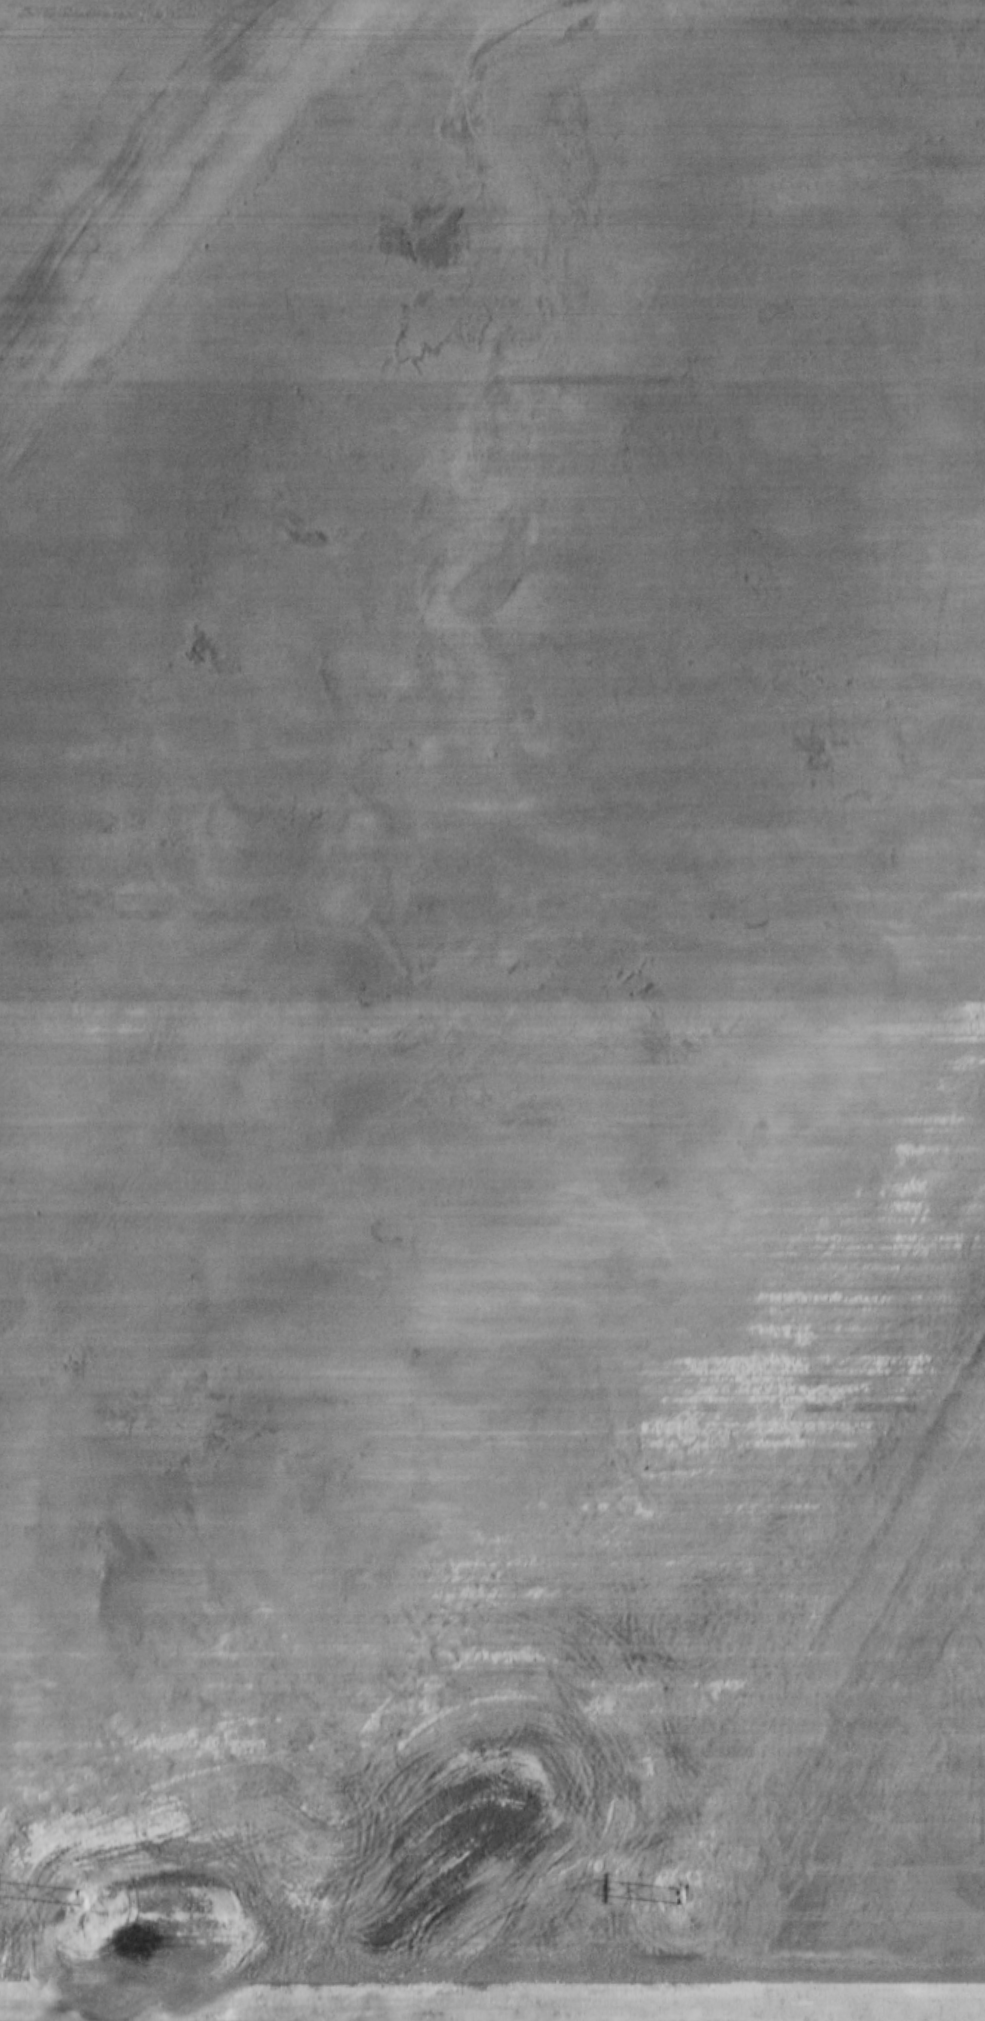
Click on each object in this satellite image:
power tower: (83, 1893)
power tower: (686, 1893)

